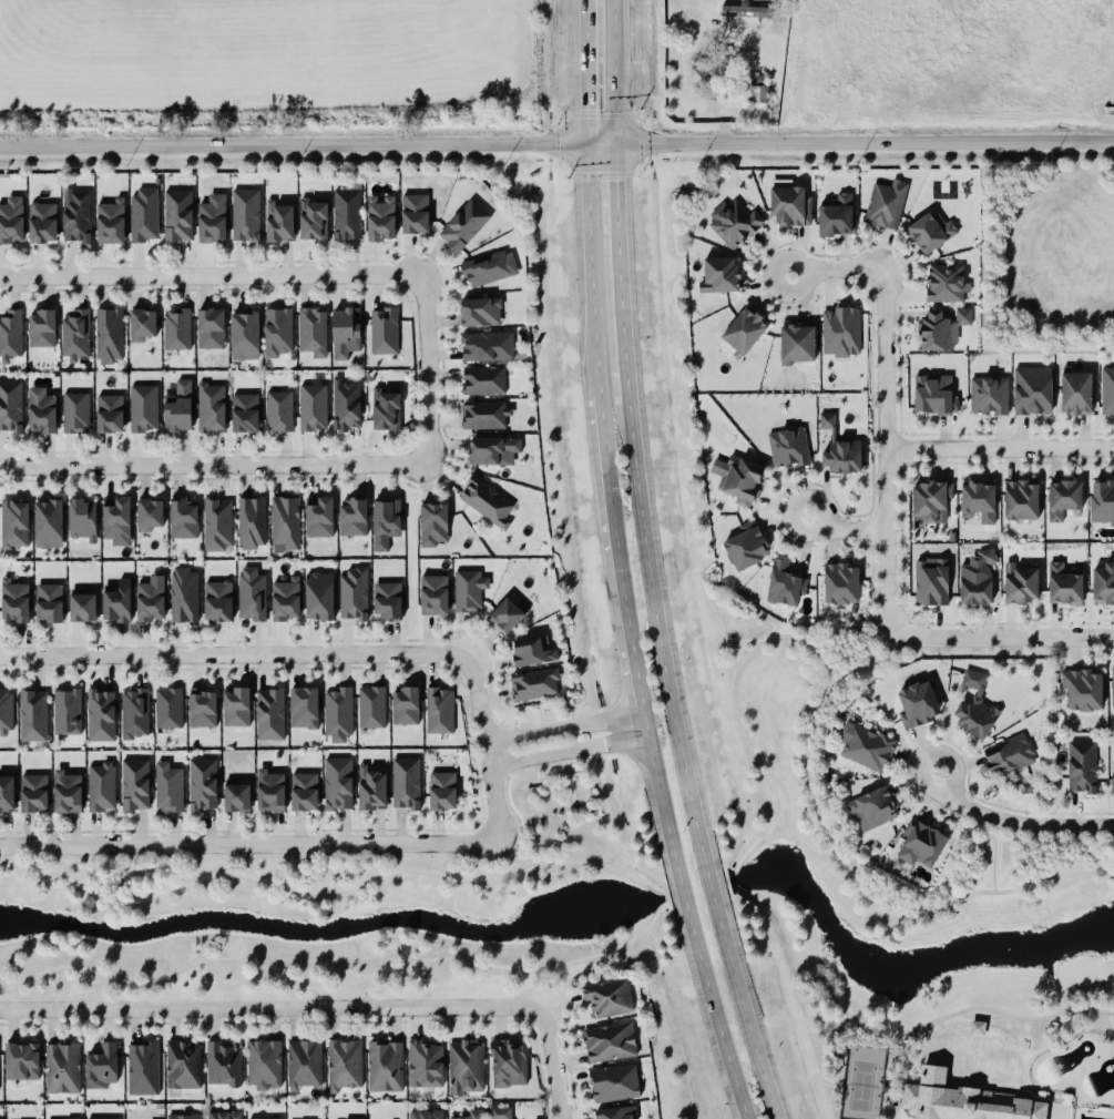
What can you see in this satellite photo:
building: (745, 9)
road: (583, 72)
road: (611, 72)
building: (701, 74)
building: (756, 85)
road: (862, 141)
road: (306, 143)
building: (885, 202)
building: (789, 203)
building: (347, 210)
building: (415, 212)
building: (144, 213)
building: (835, 213)
building: (75, 214)
building: (177, 214)
building: (245, 214)
building: (212, 217)
building: (313, 217)
building: (380, 217)
building: (11, 218)
building: (110, 218)
building: (278, 218)
building: (41, 221)
building: (733, 222)
building: (463, 223)
building: (930, 230)
road: (825, 265)
building: (484, 267)
building: (718, 272)
road: (589, 273)
road: (616, 274)
road: (211, 276)
building: (944, 282)
building: (479, 309)
building: (142, 323)
building: (41, 326)
building: (175, 327)
building: (209, 327)
building: (941, 327)
building: (384, 328)
building: (344, 329)
building: (743, 329)
building: (840, 329)
building: (277, 330)
building: (311, 330)
building: (10, 332)
building: (244, 333)
building: (74, 334)
building: (108, 334)
building: (797, 343)
building: (486, 344)
road: (425, 369)
building: (483, 379)
building: (1032, 389)
building: (1107, 389)
building: (1075, 390)
building: (933, 393)
building: (989, 395)
building: (11, 404)
building: (346, 404)
building: (177, 406)
building: (211, 406)
building: (311, 406)
building: (143, 407)
building: (41, 408)
building: (386, 408)
building: (278, 409)
building: (244, 410)
building: (75, 411)
building: (109, 411)
building: (486, 413)
building: (826, 419)
road: (998, 445)
building: (787, 446)
building: (492, 449)
road: (882, 451)
building: (841, 455)
road: (213, 464)
building: (739, 477)
building: (1063, 496)
building: (978, 497)
building: (1020, 497)
building: (930, 499)
building: (486, 500)
building: (1101, 501)
building: (149, 512)
building: (318, 515)
building: (351, 515)
building: (183, 516)
building: (82, 518)
building: (115, 519)
building: (13, 521)
building: (47, 521)
building: (251, 521)
building: (284, 521)
building: (386, 521)
building: (217, 522)
building: (432, 523)
road: (847, 527)
building: (746, 543)
building: (988, 555)
road: (614, 556)
building: (931, 580)
building: (840, 581)
building: (1020, 581)
building: (785, 582)
building: (1103, 582)
building: (1063, 583)
building: (974, 586)
building: (468, 587)
building: (352, 591)
building: (183, 592)
building: (251, 592)
building: (433, 592)
building: (319, 594)
building: (284, 597)
building: (14, 599)
building: (150, 599)
building: (387, 599)
road: (871, 599)
building: (116, 600)
building: (217, 600)
building: (48, 601)
building: (82, 603)
building: (508, 611)
road: (999, 639)
building: (532, 649)
road: (1003, 650)
road: (233, 653)
road: (856, 670)
building: (534, 682)
building: (1112, 688)
building: (1083, 689)
building: (916, 702)
building: (405, 703)
building: (235, 704)
building: (973, 704)
building: (202, 705)
building: (304, 705)
building: (370, 705)
building: (167, 706)
building: (439, 708)
building: (67, 709)
building: (6, 710)
building: (134, 711)
building: (101, 712)
building: (269, 712)
building: (337, 712)
building: (32, 713)
road: (643, 725)
road: (561, 726)
building: (865, 743)
road: (482, 745)
road: (804, 751)
road: (566, 752)
building: (1009, 753)
road: (679, 765)
building: (1081, 765)
building: (1112, 771)
building: (405, 781)
building: (202, 782)
building: (337, 782)
building: (134, 783)
building: (168, 784)
building: (101, 785)
building: (371, 786)
building: (269, 787)
building: (67, 789)
building: (442, 789)
building: (304, 790)
building: (6, 791)
building: (32, 791)
road: (509, 791)
building: (235, 794)
building: (872, 806)
road: (1014, 825)
road: (247, 842)
building: (920, 842)
road: (519, 843)
road: (992, 850)
road: (326, 892)
road: (689, 929)
road: (546, 985)
road: (333, 988)
building: (609, 996)
road: (266, 1008)
building: (975, 1027)
road: (892, 1035)
building: (609, 1040)
building: (21, 1059)
building: (508, 1061)
building: (264, 1062)
building: (304, 1062)
building: (423, 1062)
building: (184, 1064)
building: (223, 1064)
building: (344, 1064)
road: (550, 1064)
building: (101, 1065)
building: (385, 1065)
building: (466, 1065)
building: (61, 1067)
building: (143, 1067)
road: (889, 1071)
building: (614, 1081)
park: (861, 1081)
building: (961, 1100)
building: (500, 1112)
building: (615, 1112)
building: (426, 1113)
building: (224, 1115)
building: (471, 1115)
building: (183, 1116)
building: (61, 1118)
building: (72, 1118)
building: (103, 1118)
building: (264, 1118)

